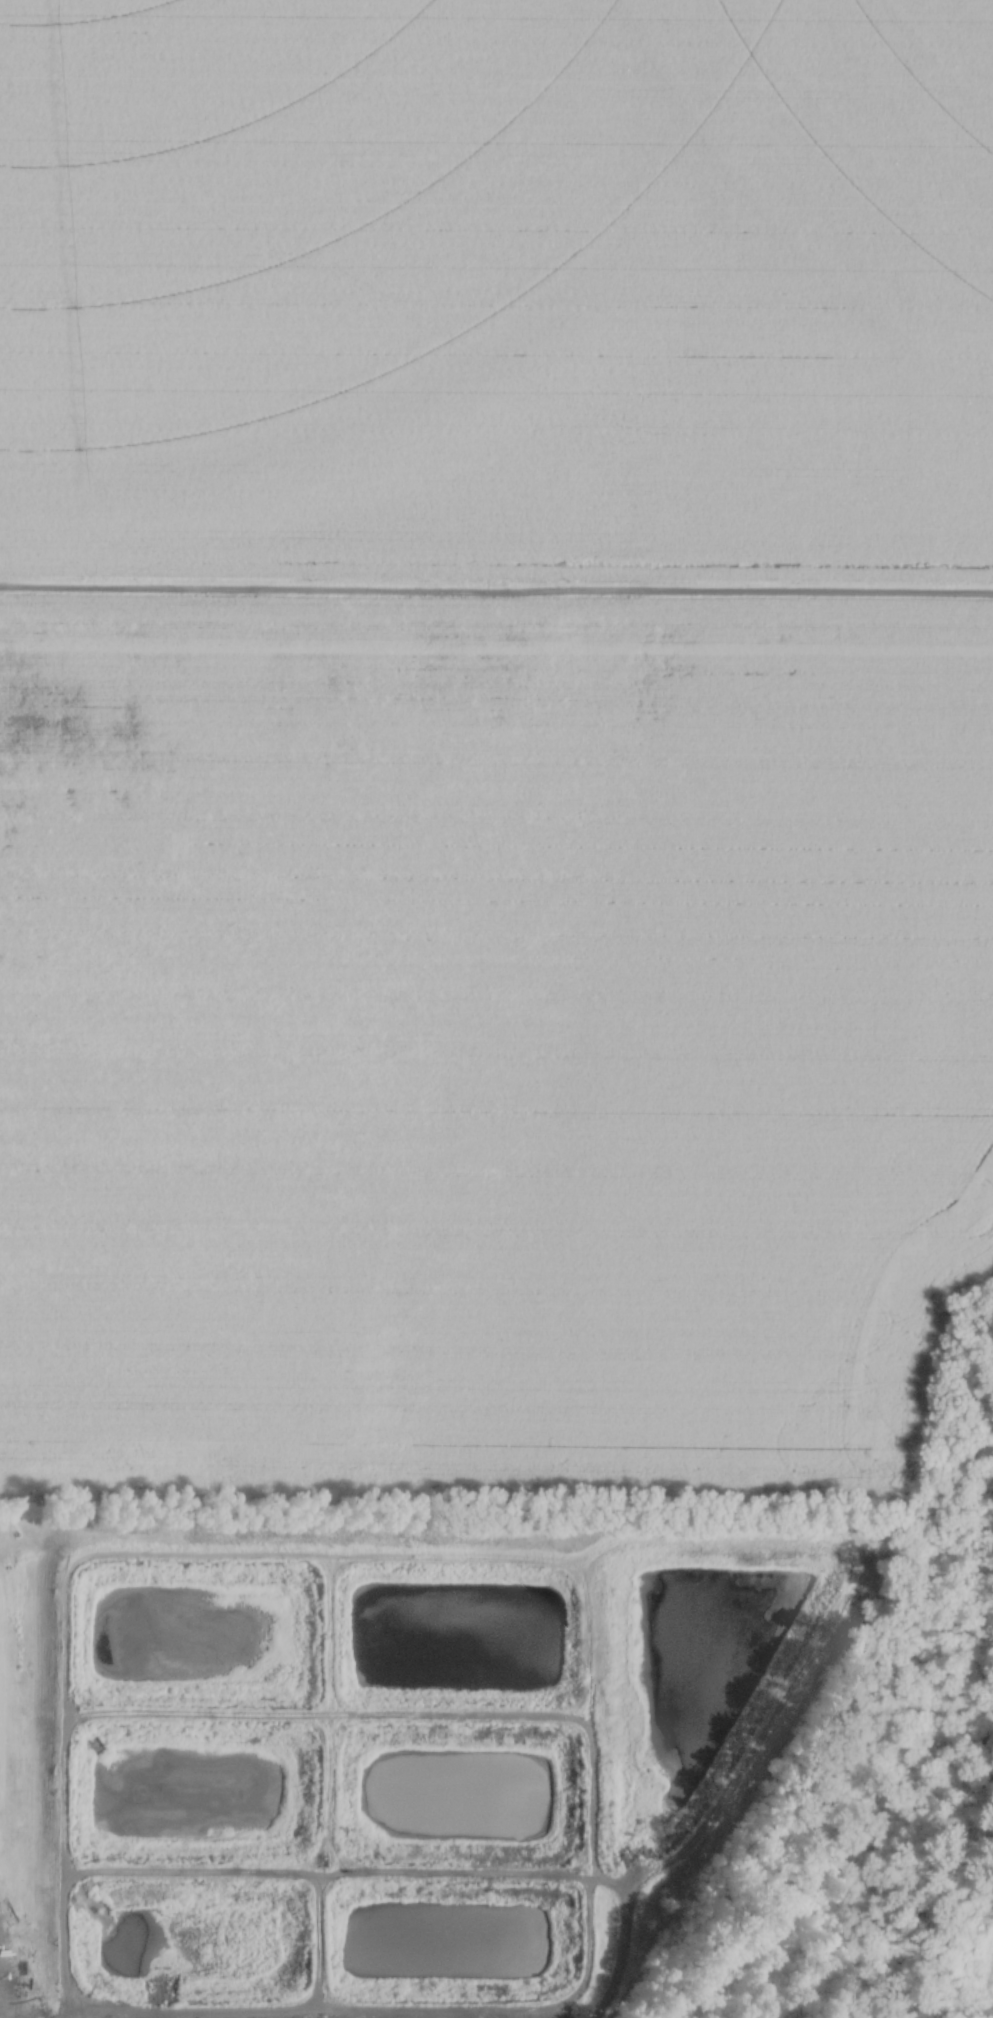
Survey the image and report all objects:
crop: (496, 288)
crop: (492, 1034)
road: (497, 1556)
wastewater plant: (393, 1740)
road: (394, 2006)
road: (1, 2016)

